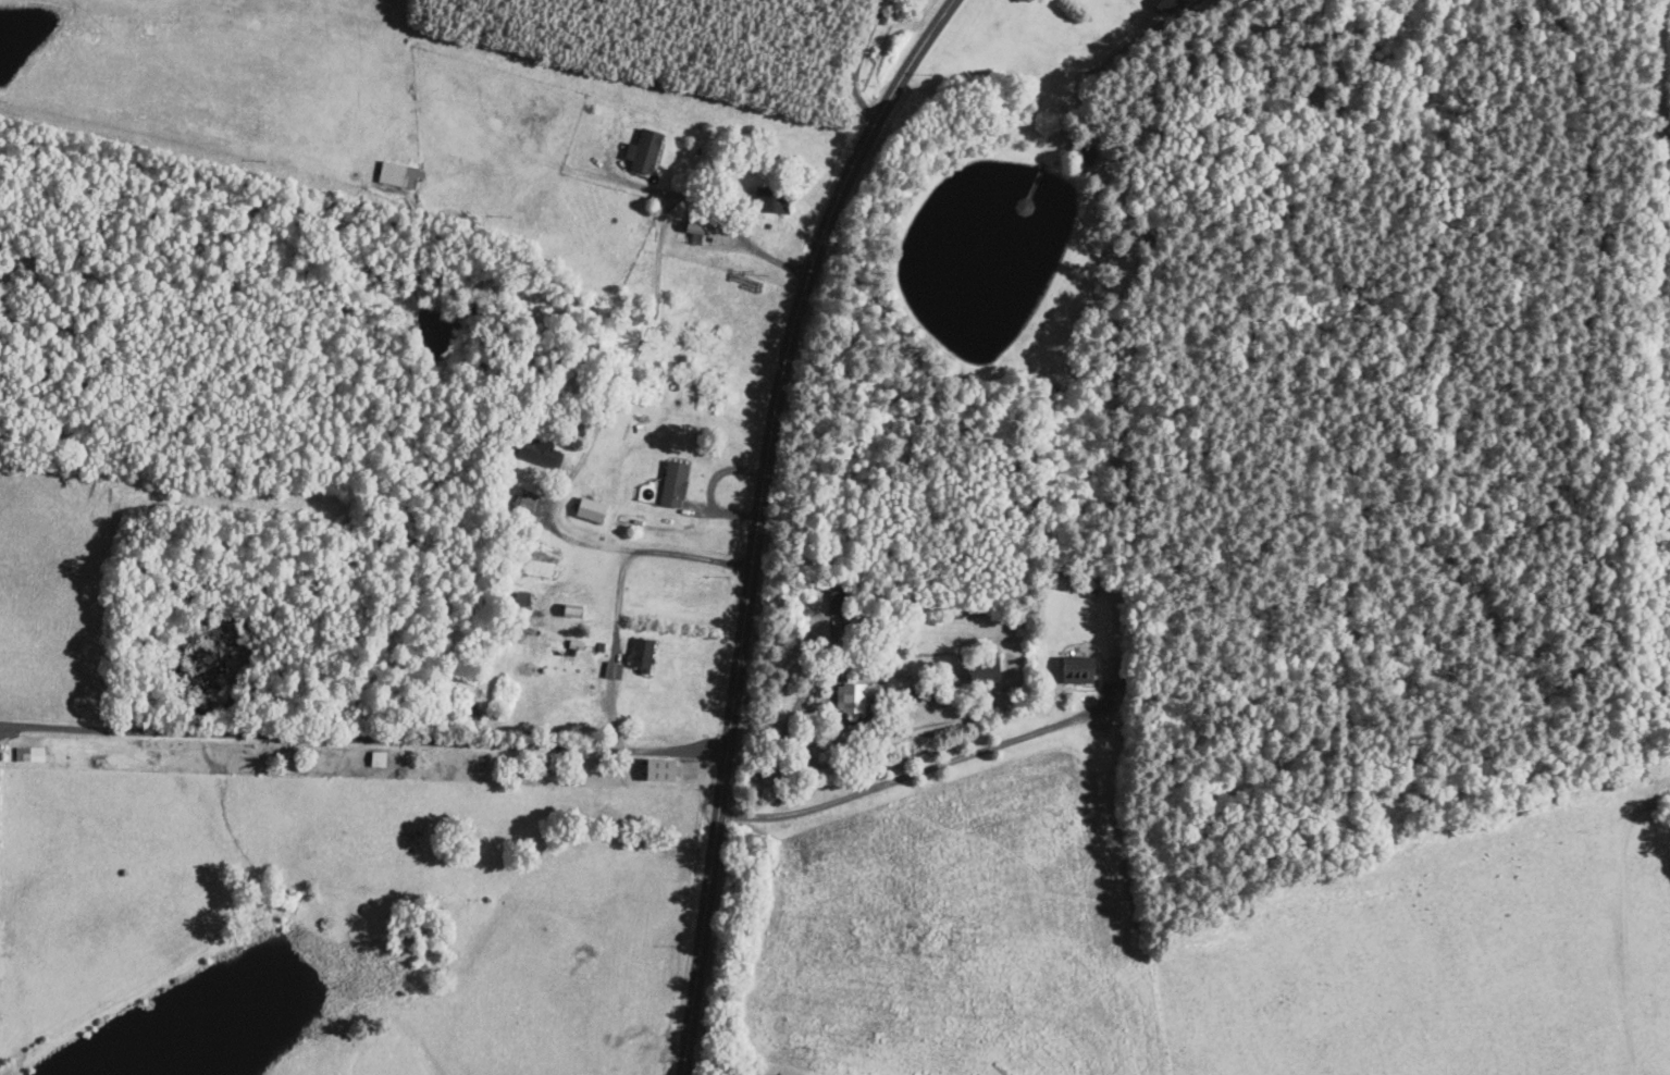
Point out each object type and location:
building: (1159, 5)
road: (858, 63)
building: (642, 149)
building: (396, 173)
road: (718, 214)
building: (692, 225)
building: (671, 483)
building: (525, 502)
building: (587, 508)
road: (758, 519)
road: (572, 541)
building: (640, 653)
building: (611, 669)
building: (1077, 671)
building: (850, 696)
road: (466, 744)
road: (669, 750)
building: (27, 753)
road: (929, 767)
building: (656, 769)

